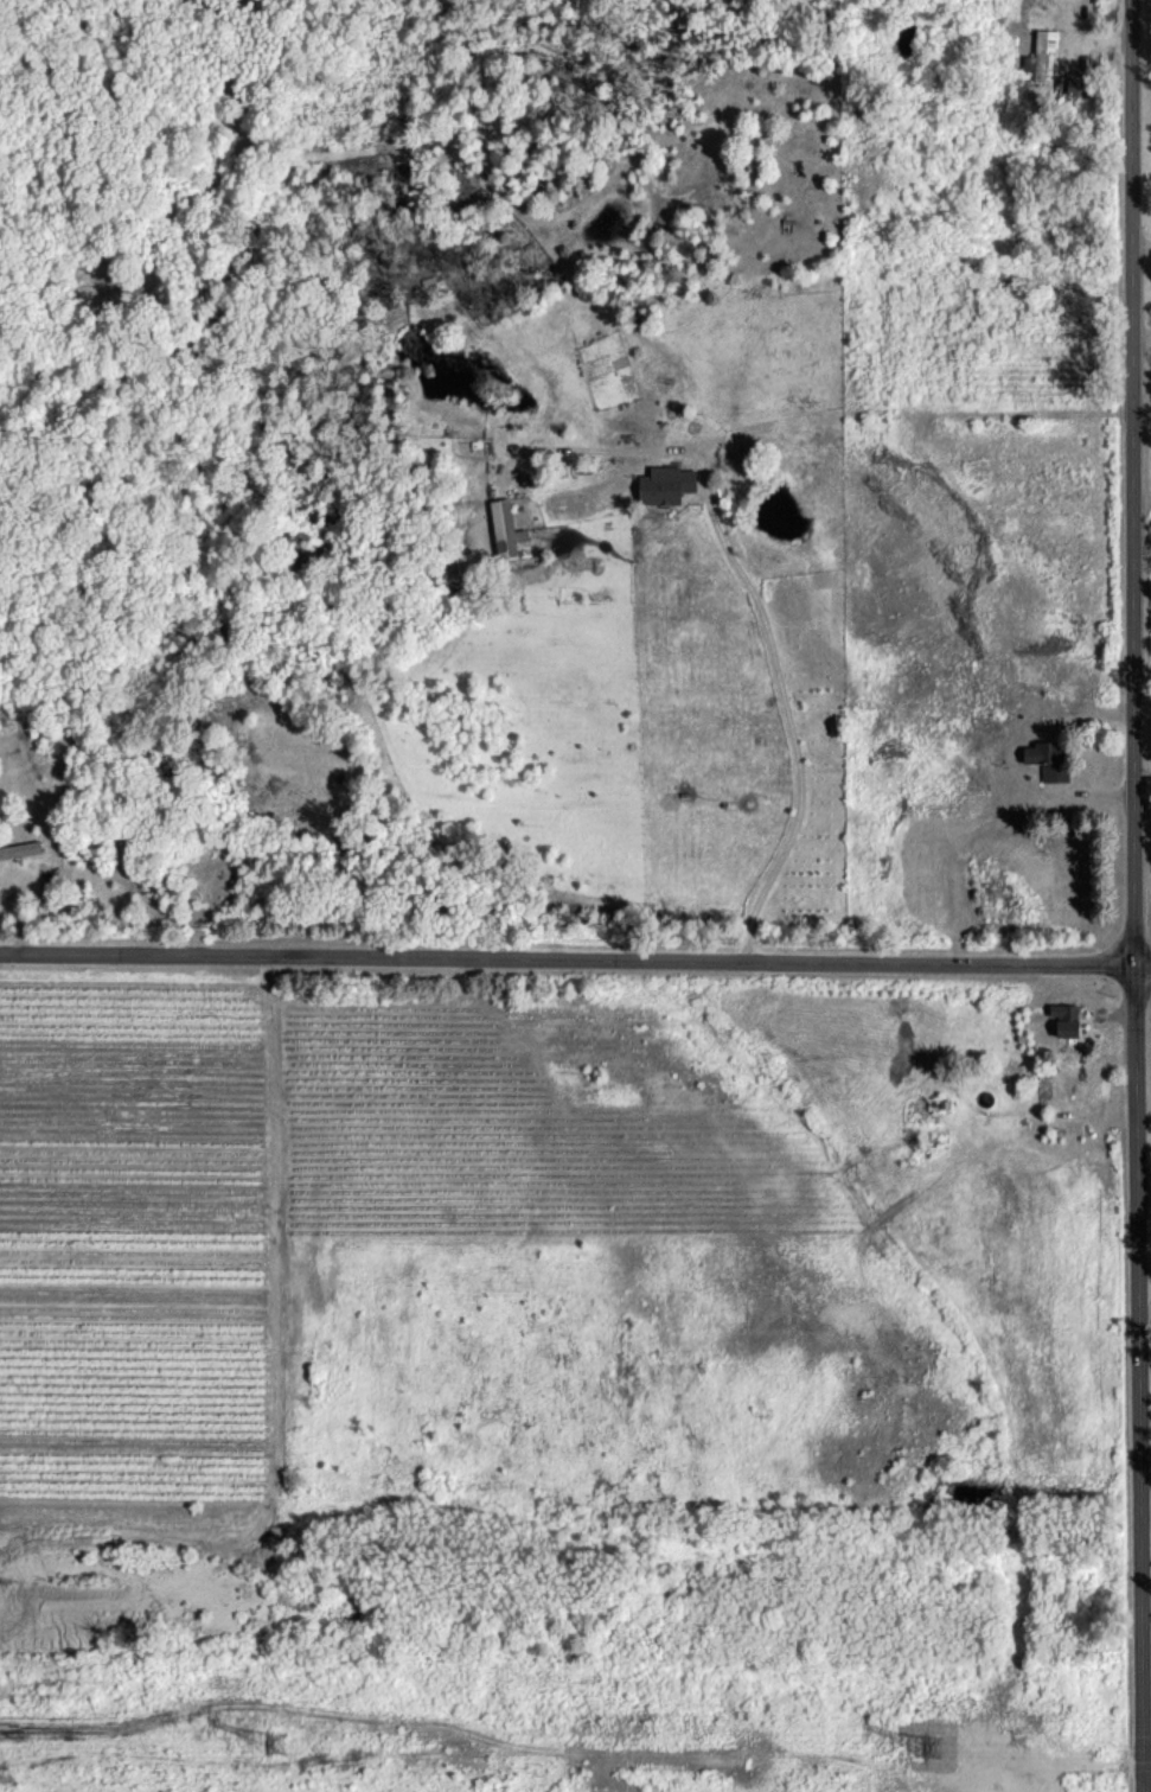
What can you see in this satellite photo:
building: (1041, 52)
building: (664, 484)
building: (506, 531)
road: (750, 589)
building: (1044, 759)
building: (20, 849)
road: (1137, 895)
road: (575, 946)
building: (1063, 1019)
power tower: (279, 1743)
power tower: (935, 1747)

